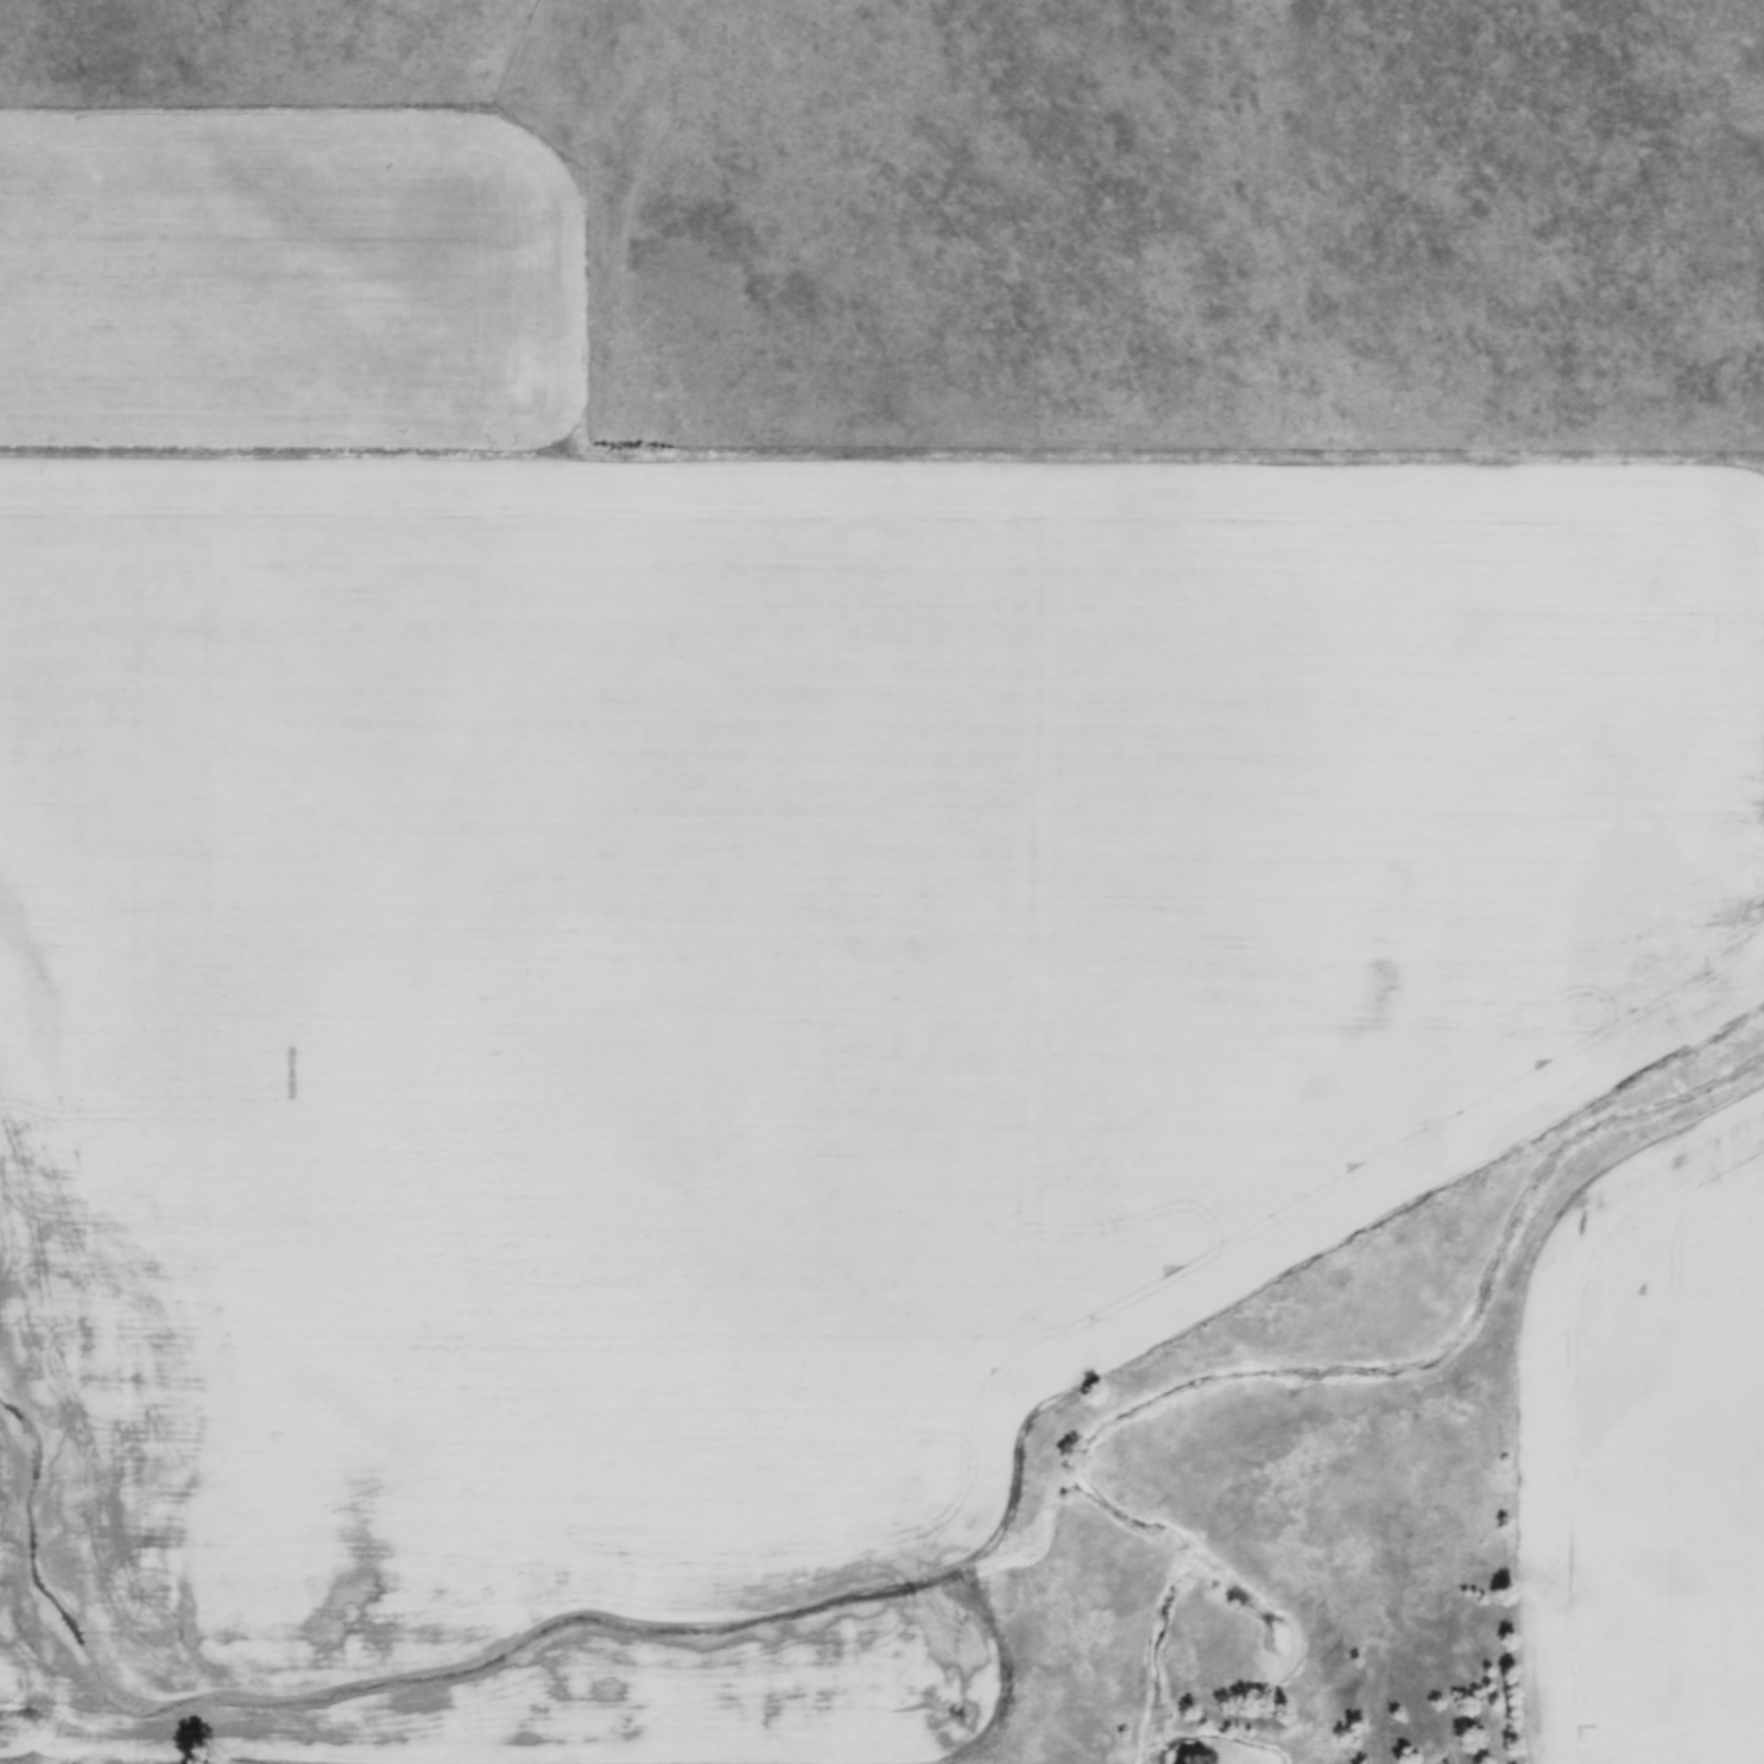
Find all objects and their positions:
crop: (1650, 1465)

